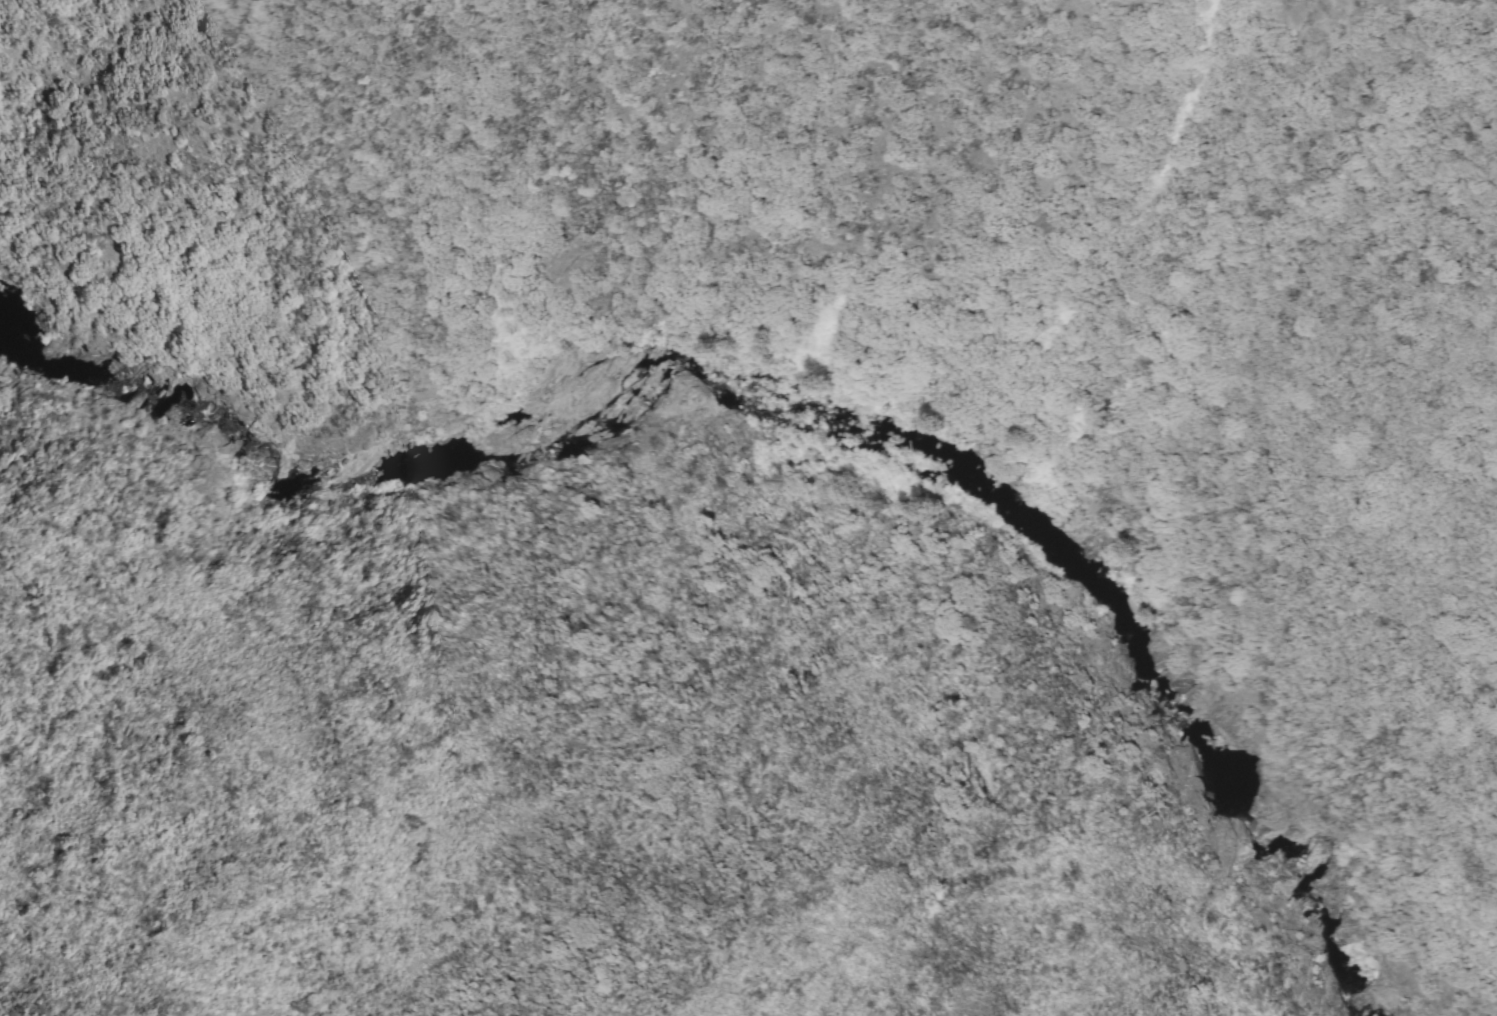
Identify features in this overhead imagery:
river: (777, 433)

